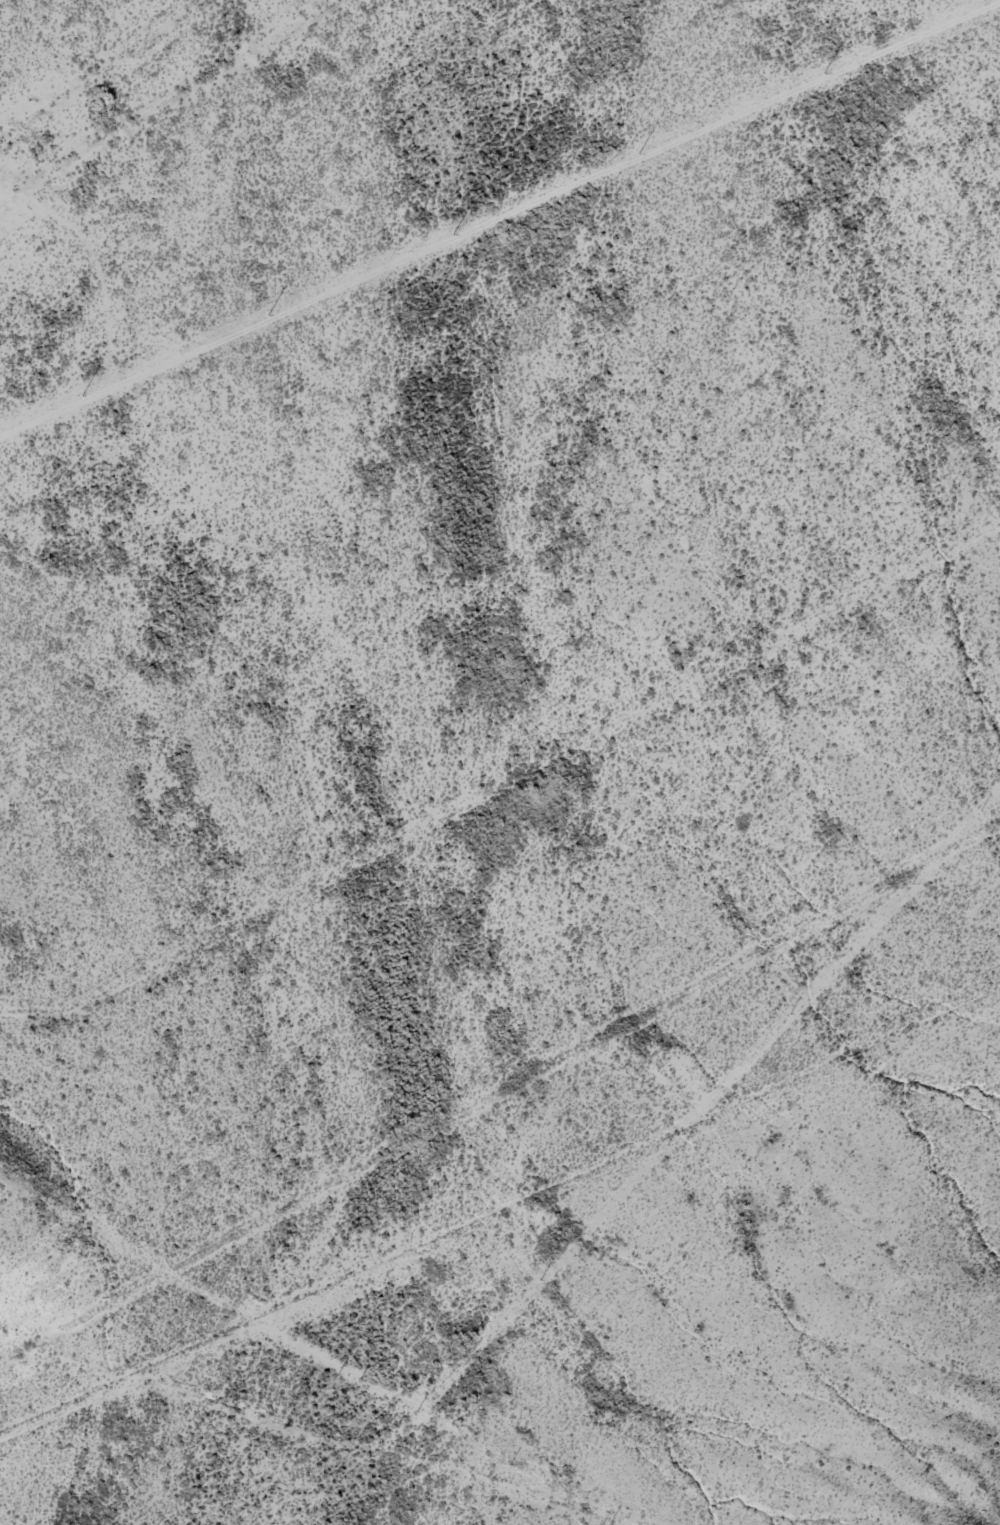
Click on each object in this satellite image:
power tower: (823, 73)
power tower: (638, 154)
power tower: (453, 235)
power tower: (268, 315)
power tower: (82, 396)

